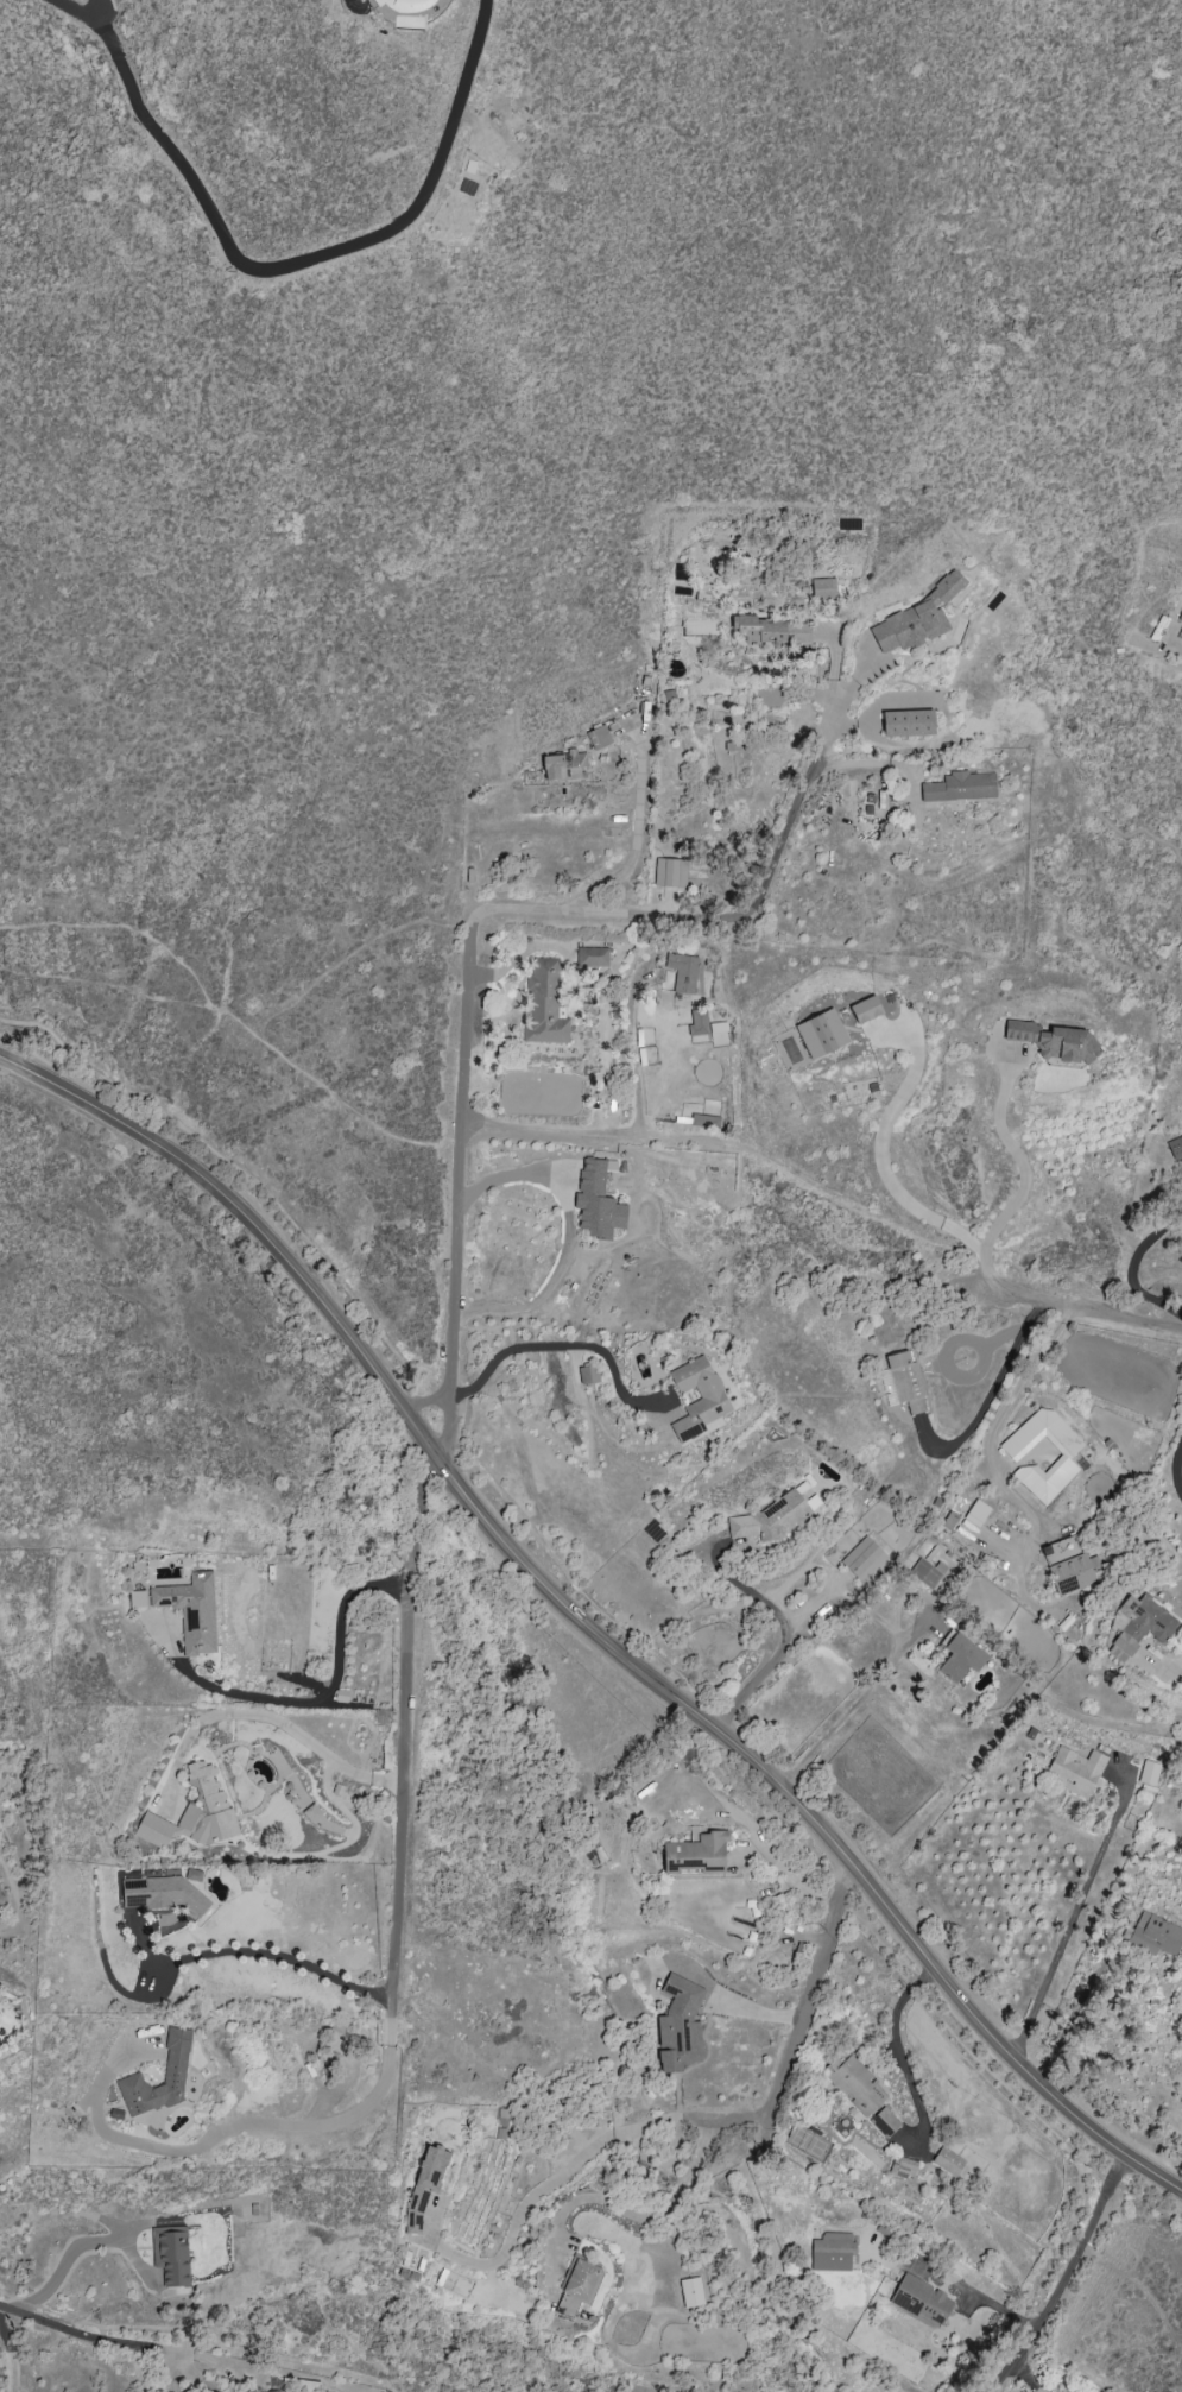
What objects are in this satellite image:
road: (361, 4)
building: (399, 6)
road: (96, 13)
road: (285, 266)
building: (822, 588)
building: (1180, 617)
building: (917, 618)
building: (769, 631)
road: (1178, 649)
building: (906, 722)
building: (598, 737)
road: (871, 763)
building: (563, 765)
building: (960, 787)
road: (633, 841)
building: (670, 872)
road: (723, 919)
road: (352, 953)
road: (519, 957)
building: (592, 957)
building: (682, 972)
road: (107, 985)
building: (544, 1004)
building: (865, 1009)
road: (229, 1018)
building: (697, 1023)
building: (821, 1034)
building: (1054, 1041)
building: (1181, 1106)
building: (703, 1121)
road: (628, 1130)
building: (1175, 1148)
road: (885, 1174)
road: (1023, 1181)
road: (457, 1189)
building: (596, 1201)
road: (245, 1220)
road: (567, 1235)
road: (1132, 1267)
road: (1095, 1309)
road: (384, 1340)
road: (554, 1346)
road: (948, 1349)
building: (588, 1375)
building: (906, 1381)
building: (887, 1387)
road: (990, 1391)
building: (712, 1396)
road: (1004, 1419)
road: (438, 1456)
building: (1064, 1457)
road: (1176, 1465)
building: (975, 1513)
building: (770, 1519)
building: (949, 1521)
building: (862, 1560)
building: (1067, 1565)
building: (924, 1573)
building: (135, 1597)
building: (191, 1611)
building: (1138, 1626)
road: (785, 1637)
building: (960, 1656)
road: (1171, 1667)
building: (340, 1696)
road: (310, 1703)
road: (851, 1708)
road: (270, 1710)
building: (1075, 1771)
building: (1149, 1774)
road: (751, 1780)
building: (311, 1812)
building: (192, 1813)
road: (814, 1824)
building: (695, 1854)
road: (786, 1875)
building: (159, 1894)
road: (1074, 1911)
building: (1155, 1936)
road: (259, 1951)
road: (397, 1970)
road: (738, 2003)
building: (678, 2025)
road: (900, 2053)
building: (173, 2076)
road: (995, 2077)
building: (855, 2084)
road: (688, 2116)
building: (884, 2122)
building: (947, 2160)
building: (903, 2167)
building: (961, 2173)
building: (425, 2185)
road: (637, 2217)
road: (86, 2241)
building: (832, 2252)
building: (171, 2254)
road: (1062, 2273)
building: (577, 2287)
road: (1138, 2287)
building: (691, 2292)
road: (974, 2293)
road: (13, 2296)
building: (922, 2299)
road: (19, 2306)
road: (84, 2335)
road: (194, 2341)
road: (11, 2356)
road: (314, 2365)
road: (166, 2371)
road: (1026, 2377)
road: (756, 2380)
building: (301, 2385)

